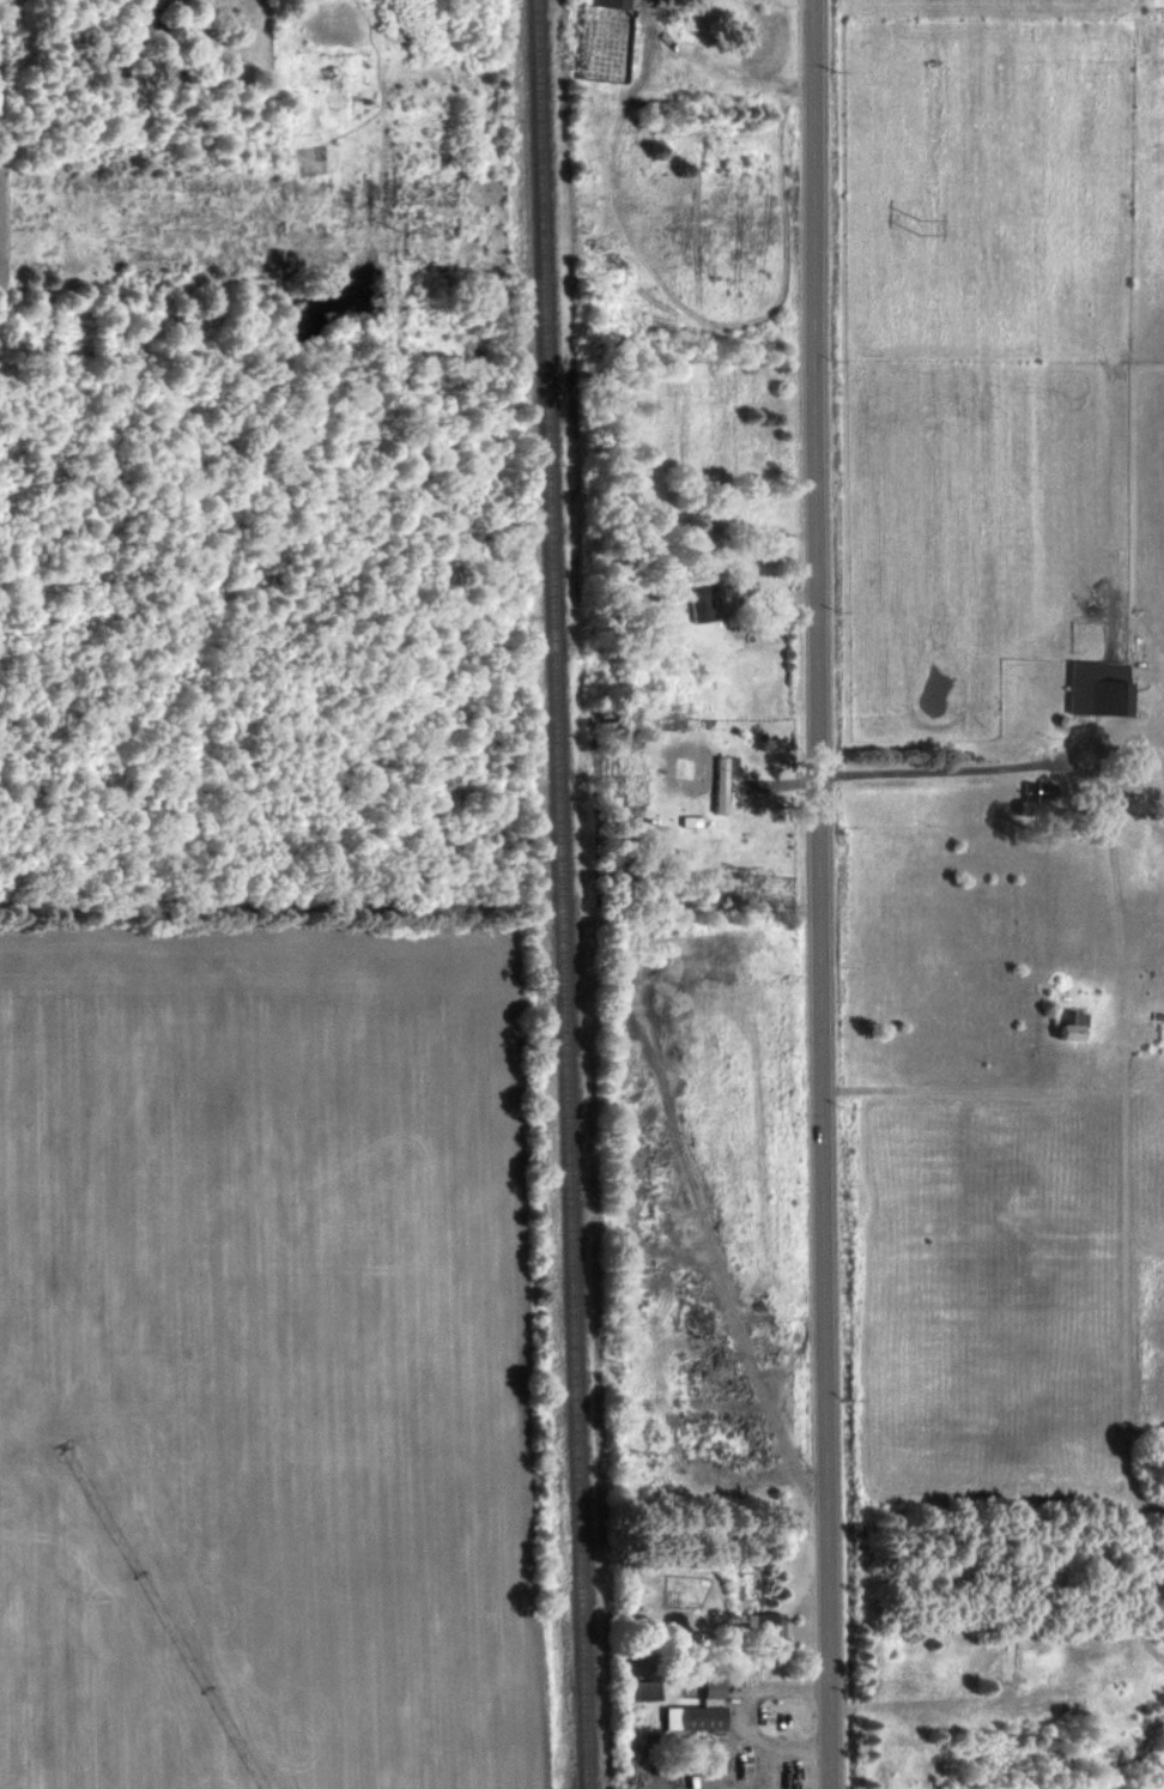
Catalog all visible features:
building: (610, 2)
road: (10, 138)
power tower: (396, 225)
power tower: (927, 228)
building: (701, 603)
building: (1099, 687)
road: (951, 770)
building: (722, 782)
building: (1033, 792)
railway: (560, 894)
road: (827, 894)
road: (968, 1092)
building: (766, 1622)
building: (644, 1690)
building: (699, 1710)
road: (754, 1717)

